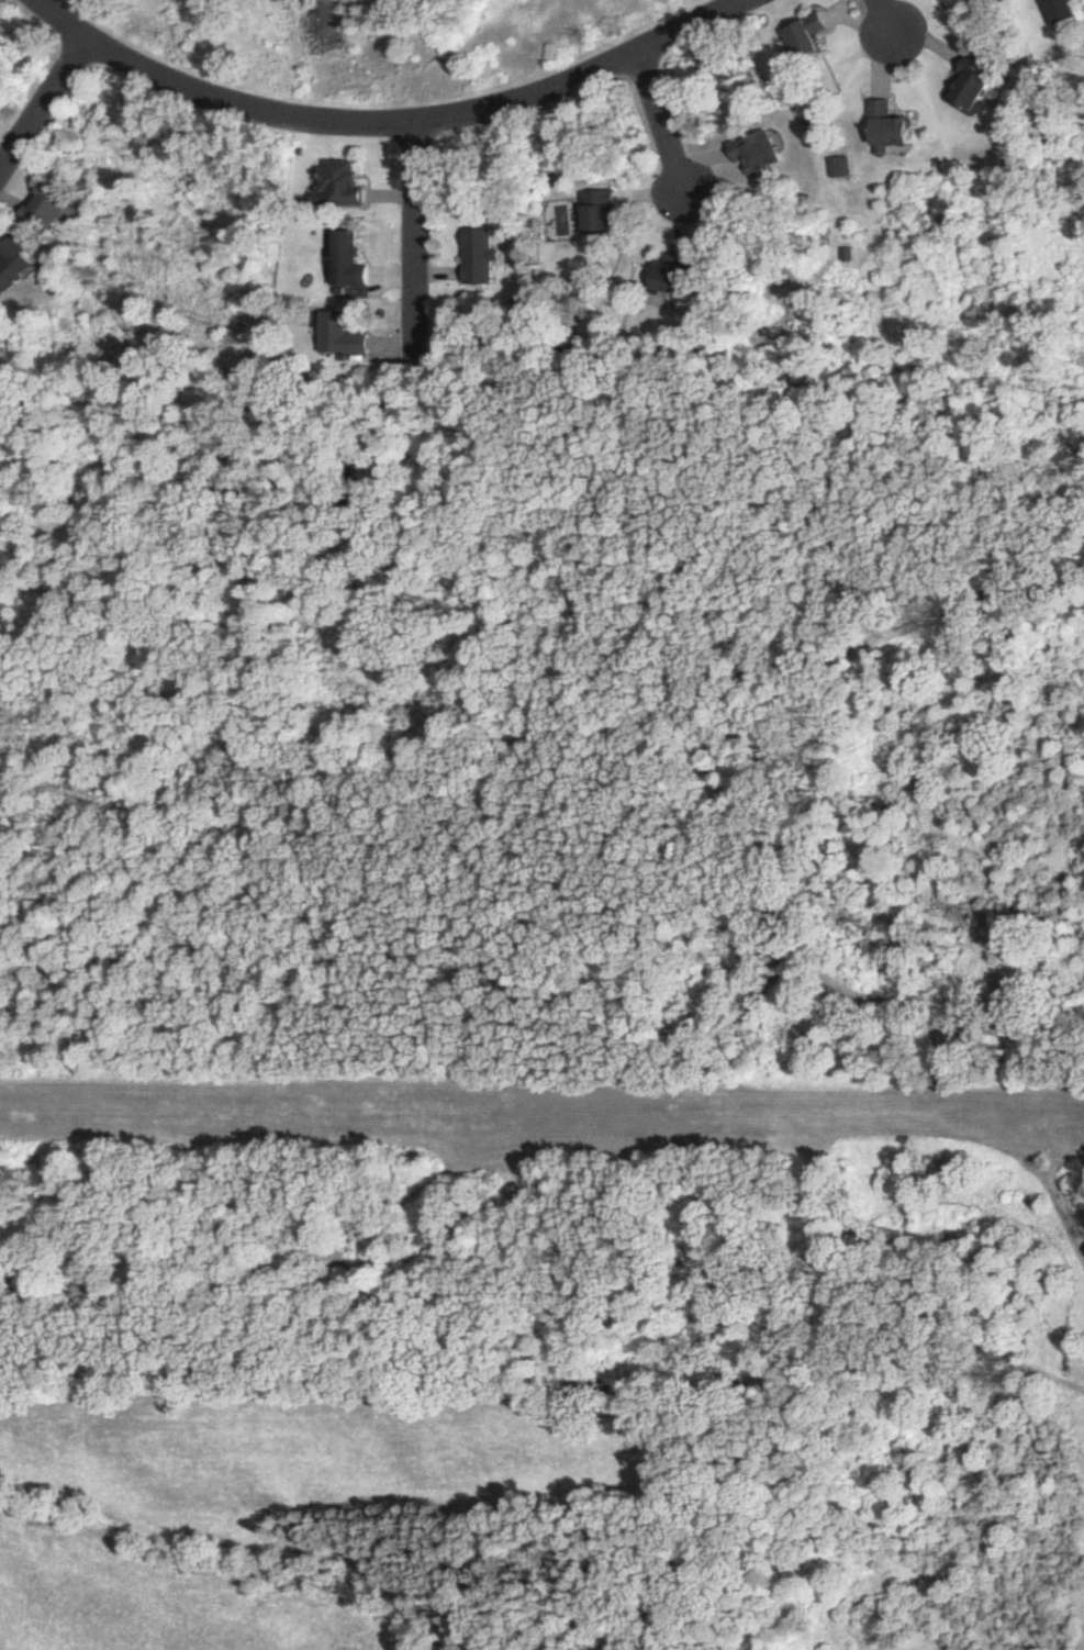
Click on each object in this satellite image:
building: (1066, 12)
road: (882, 16)
building: (809, 38)
building: (975, 87)
road: (42, 104)
road: (659, 122)
road: (398, 129)
building: (893, 131)
building: (760, 155)
building: (842, 168)
building: (346, 186)
building: (52, 207)
building: (603, 213)
road: (416, 256)
building: (482, 258)
building: (351, 261)
building: (16, 265)
building: (670, 274)
building: (344, 336)

